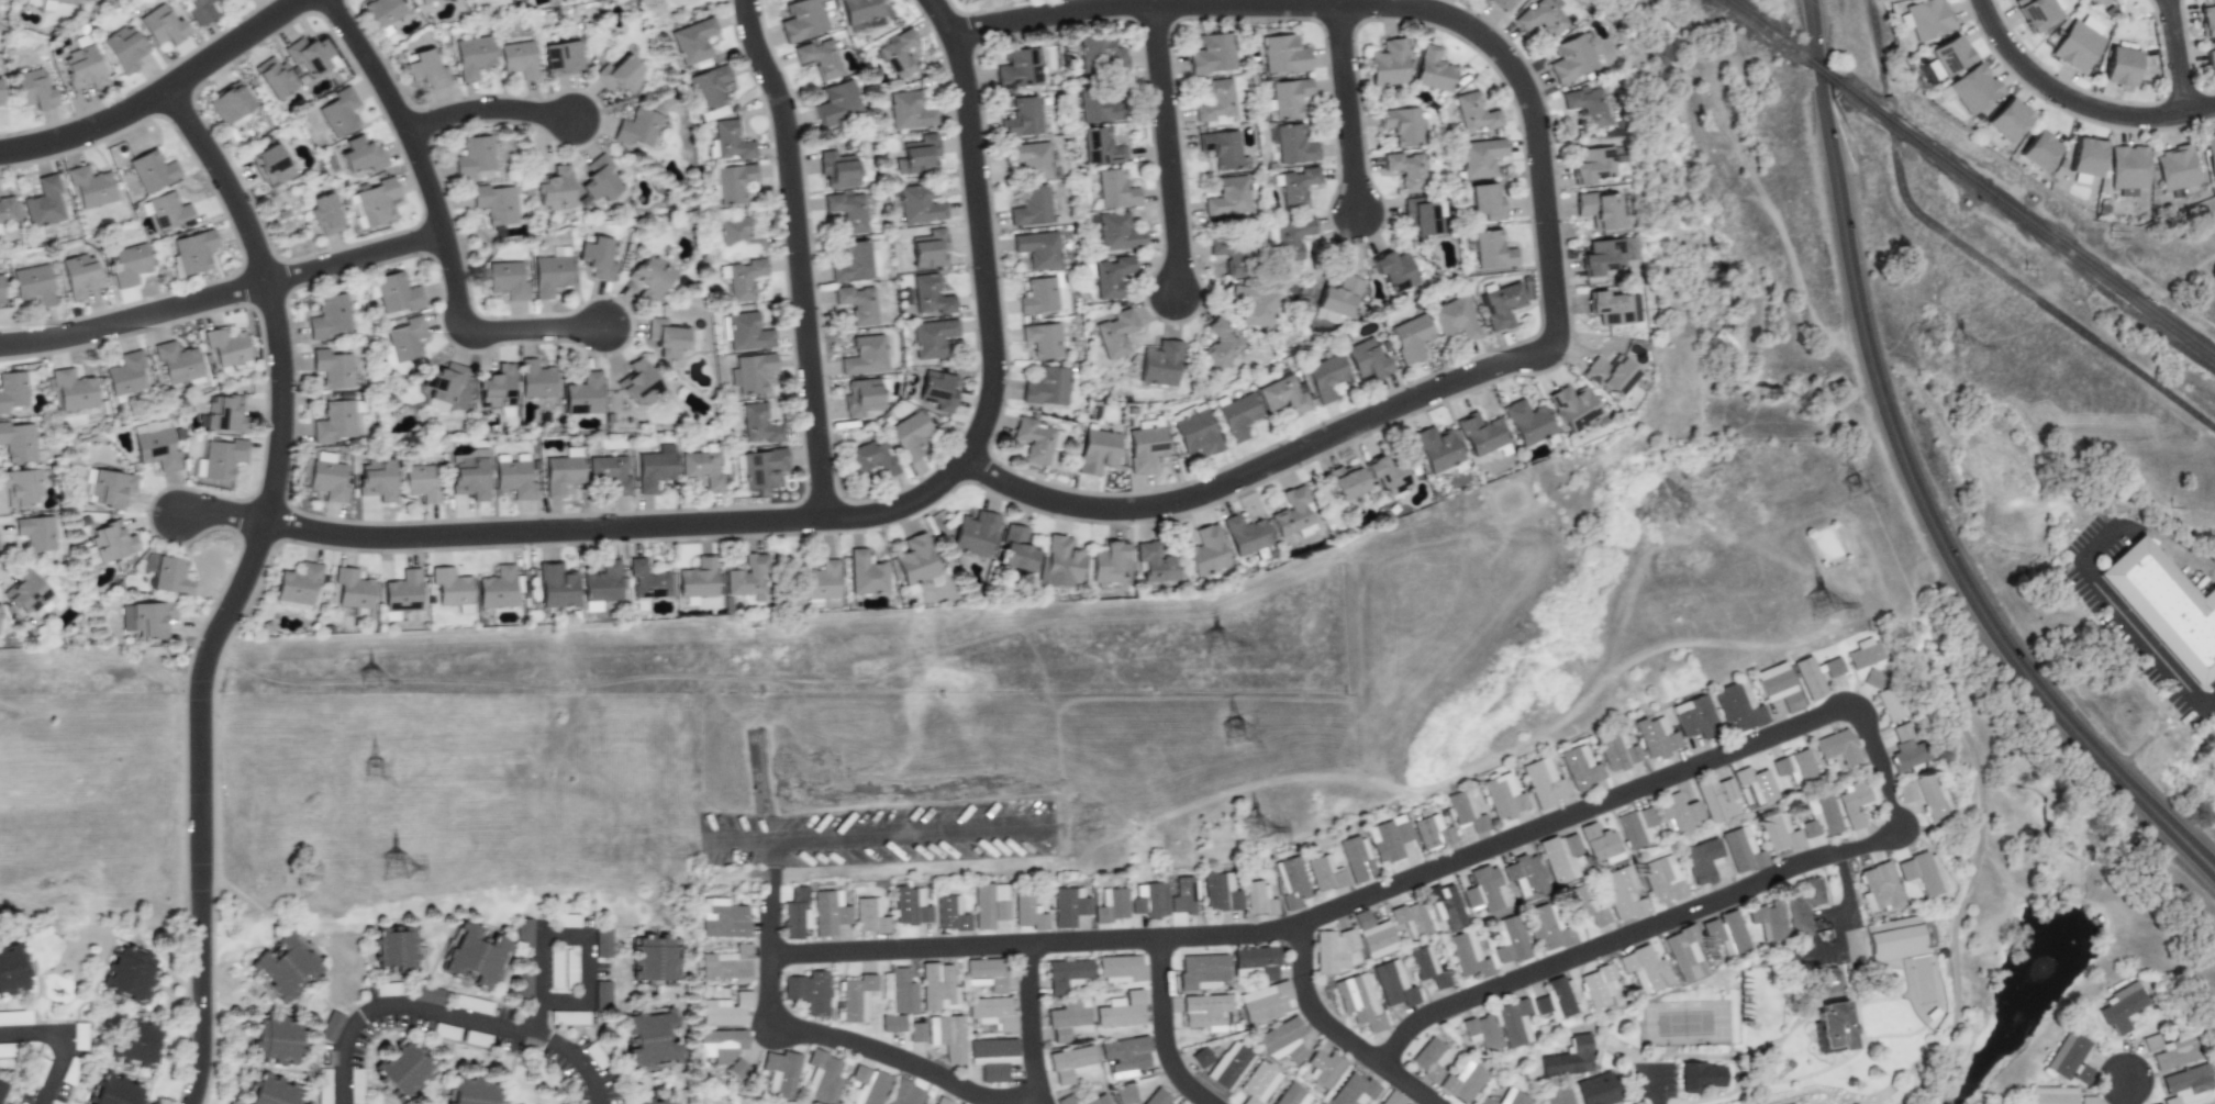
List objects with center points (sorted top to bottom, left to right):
building: (64, 1)
building: (423, 1)
building: (1502, 3)
building: (200, 10)
park: (683, 10)
building: (859, 12)
building: (381, 13)
building: (2036, 13)
building: (2207, 16)
building: (1541, 18)
building: (801, 19)
building: (1928, 19)
building: (162, 25)
railway: (1762, 30)
building: (692, 41)
building: (2077, 46)
road: (1879, 47)
building: (123, 48)
building: (1211, 53)
building: (898, 54)
building: (1283, 54)
building: (309, 55)
building: (1099, 55)
building: (472, 56)
building: (1948, 56)
building: (561, 57)
building: (817, 58)
building: (1571, 58)
road: (2179, 58)
building: (517, 59)
building: (2210, 59)
building: (1388, 63)
building: (2119, 66)
building: (82, 68)
building: (1017, 68)
building: (425, 69)
building: (1434, 69)
railway: (1819, 70)
building: (619, 75)
building: (274, 77)
building: (1974, 88)
building: (33, 89)
building: (710, 90)
road: (158, 94)
building: (0, 97)
building: (1289, 98)
building: (1214, 101)
building: (836, 102)
road: (2075, 102)
building: (229, 103)
street lamp: (2048, 104)
building: (1585, 105)
building: (1094, 107)
road: (489, 109)
road: (1345, 110)
road: (398, 111)
building: (909, 111)
building: (338, 112)
building: (1474, 113)
building: (1022, 116)
building: (2008, 119)
building: (1402, 125)
building: (637, 129)
building: (731, 142)
building: (1293, 145)
building: (1100, 147)
road: (1166, 147)
building: (1220, 148)
street lamp: (1801, 148)
building: (2039, 150)
building: (2210, 152)
building: (361, 155)
building: (917, 155)
building: (472, 156)
building: (2086, 156)
building: (1480, 157)
building: (1028, 158)
building: (270, 165)
building: (1592, 165)
building: (2128, 167)
building: (2175, 168)
building: (836, 169)
building: (152, 170)
building: (1406, 170)
building: (599, 179)
building: (733, 182)
building: (90, 187)
building: (1296, 187)
building: (554, 189)
building: (1114, 189)
building: (1227, 197)
building: (377, 201)
building: (1485, 201)
building: (43, 203)
building: (494, 203)
building: (919, 204)
building: (1032, 207)
building: (1599, 209)
building: (7, 210)
building: (847, 210)
building: (169, 212)
building: (324, 215)
building: (1420, 216)
railway: (2024, 220)
road: (1545, 226)
building: (1116, 232)
building: (738, 234)
building: (0, 235)
building: (1290, 237)
building: (928, 248)
building: (1037, 249)
building: (1492, 250)
building: (193, 252)
park: (2182, 253)
building: (1227, 254)
road: (798, 256)
building: (597, 257)
building: (1601, 257)
road: (356, 258)
building: (857, 261)
building: (129, 264)
building: (1393, 270)
building: (550, 271)
building: (79, 275)
building: (1109, 276)
building: (650, 277)
building: (744, 279)
building: (507, 280)
building: (32, 283)
building: (0, 289)
building: (396, 293)
building: (931, 295)
building: (1038, 295)
building: (1338, 297)
road: (1800, 298)
road: (2037, 301)
building: (857, 303)
building: (1253, 304)
building: (1500, 304)
building: (1612, 308)
building: (327, 316)
road: (134, 317)
building: (1452, 319)
road: (485, 330)
building: (747, 332)
building: (1114, 333)
building: (665, 337)
building: (932, 337)
building: (1410, 337)
building: (405, 338)
building: (1042, 339)
building: (1218, 345)
building: (225, 346)
power tower: (1957, 348)
building: (864, 356)
building: (1366, 359)
building: (177, 363)
building: (1159, 364)
building: (331, 368)
building: (752, 371)
building: (125, 373)
building: (1324, 376)
building: (1611, 376)
building: (535, 379)
building: (443, 381)
building: (639, 383)
building: (1046, 386)
building: (496, 387)
building: (12, 390)
building: (73, 390)
building: (937, 390)
building: (583, 394)
building: (1283, 394)
building: (860, 397)
street lamp: (1849, 398)
building: (435, 405)
building: (1573, 406)
building: (225, 413)
building: (1237, 416)
building: (334, 421)
building: (1527, 422)
building: (758, 424)
building: (1195, 434)
building: (1480, 434)
building: (909, 435)
building: (1037, 439)
building: (18, 442)
building: (154, 445)
building: (1145, 445)
building: (1436, 448)
building: (1097, 450)
building: (872, 456)
building: (220, 459)
building: (655, 468)
building: (760, 468)
building: (701, 469)
building: (563, 471)
building: (610, 472)
building: (469, 475)
building: (327, 477)
building: (1387, 477)
building: (377, 479)
building: (513, 479)
building: (1344, 481)
building: (421, 482)
road: (1914, 482)
building: (21, 487)
building: (105, 487)
power tower: (1847, 487)
building: (1292, 511)
road: (224, 515)
road: (861, 516)
building: (35, 532)
building: (975, 534)
building: (1246, 535)
building: (111, 542)
building: (1016, 549)
building: (1206, 550)
building: (914, 559)
building: (1109, 562)
building: (1156, 562)
building: (1060, 564)
building: (865, 573)
building: (168, 575)
building: (746, 576)
building: (697, 578)
building: (647, 580)
building: (821, 580)
building: (602, 582)
building: (299, 583)
street lamp: (1925, 583)
road: (246, 586)
building: (556, 586)
building: (450, 587)
building: (497, 588)
building: (353, 589)
building: (403, 591)
building: (27, 592)
power tower: (1821, 604)
building: (2167, 606)
building: (145, 618)
road: (2124, 621)
power tower: (1216, 643)
building: (1859, 653)
building: (1828, 667)
building: (1805, 678)
building: (1869, 678)
power tower: (372, 687)
building: (1776, 687)
building: (1885, 703)
building: (1736, 706)
building: (1692, 717)
power tower: (1236, 734)
building: (1654, 737)
building: (1833, 747)
street lamp: (2046, 747)
building: (1901, 748)
building: (1616, 751)
building: (1792, 767)
building: (1579, 768)
power tower: (376, 778)
building: (1543, 782)
road: (1657, 782)
building: (1754, 784)
building: (1901, 791)
building: (1502, 796)
building: (1926, 796)
building: (1714, 798)
building: (1849, 802)
building: (1465, 811)
building: (1676, 814)
building: (1815, 815)
building: (1635, 826)
power tower: (1258, 828)
building: (1773, 833)
road: (880, 837)
building: (1387, 839)
building: (1600, 844)
building: (1737, 850)
building: (1560, 857)
building: (1355, 858)
building: (1693, 863)
road: (777, 871)
power tower: (399, 872)
building: (1916, 872)
building: (1324, 873)
building: (1525, 876)
building: (1659, 879)
building: (1291, 882)
building: (1874, 888)
building: (1484, 889)
building: (1220, 892)
building: (1619, 893)
building: (1181, 895)
building: (1257, 899)
building: (1149, 900)
building: (989, 904)
building: (1111, 905)
building: (1584, 905)
building: (910, 906)
building: (1068, 906)
building: (1444, 906)
building: (1797, 906)
building: (1027, 911)
building: (828, 912)
building: (794, 913)
building: (949, 914)
building: (869, 915)
building: (722, 918)
building: (1411, 918)
road: (1834, 919)
building: (1763, 921)
building: (1545, 926)
building: (1722, 933)
building: (528, 934)
building: (1921, 934)
building: (1373, 935)
road: (572, 937)
building: (1507, 939)
building: (1886, 939)
building: (606, 943)
building: (399, 948)
building: (1333, 949)
building: (1681, 952)
building: (1466, 955)
building: (480, 956)
building: (659, 957)
building: (1257, 960)
building: (290, 962)
building: (726, 963)
building: (1426, 967)
building: (1118, 968)
building: (1643, 969)
building: (133, 971)
building: (1202, 971)
building: (12, 973)
building: (984, 973)
building: (1067, 974)
building: (527, 984)
building: (1392, 984)
building: (1595, 985)
building: (937, 988)
building: (808, 991)
building: (900, 991)
building: (432, 994)
building: (606, 995)
building: (856, 997)
building: (1552, 1000)
building: (1264, 1001)
building: (1358, 1001)
building: (2116, 1007)
building: (726, 1010)
building: (1121, 1010)
building: (1204, 1010)
building: (991, 1012)
road: (454, 1015)
building: (1068, 1019)
building: (1512, 1022)
building: (892, 1023)
building: (334, 1025)
road: (1033, 1025)
building: (1217, 1026)
building: (1827, 1028)
road: (1165, 1029)
building: (916, 1031)
road: (1336, 1031)
building: (1479, 1031)
building: (281, 1036)
building: (947, 1036)
building: (655, 1037)
building: (141, 1039)
building: (1282, 1040)
building: (722, 1042)
road: (849, 1042)
road: (64, 1044)
building: (2166, 1051)
building: (1125, 1056)
building: (992, 1057)
building: (1201, 1057)
building: (1566, 1058)
building: (2066, 1058)
building: (1427, 1059)
road: (1640, 1060)
building: (1070, 1063)
building: (1227, 1064)
building: (1787, 1066)
building: (409, 1067)
building: (1322, 1068)
building: (782, 1069)
building: (1695, 1075)
building: (822, 1077)
building: (1460, 1082)
building: (1258, 1083)
building: (867, 1085)
building: (2182, 1085)
building: (5, 1089)
building: (1593, 1089)
building: (119, 1090)
building: (276, 1090)
building: (478, 1090)
building: (1351, 1090)
road: (2125, 1091)
building: (904, 1093)
building: (1291, 1095)
building: (2049, 1095)
building: (1554, 1096)
building: (1157, 1097)
building: (1509, 1097)
building: (1389, 1099)
building: (1082, 1100)
building: (2084, 1100)
building: (661, 1101)
building: (942, 1101)
building: (1482, 1101)
building: (1177, 1103)

